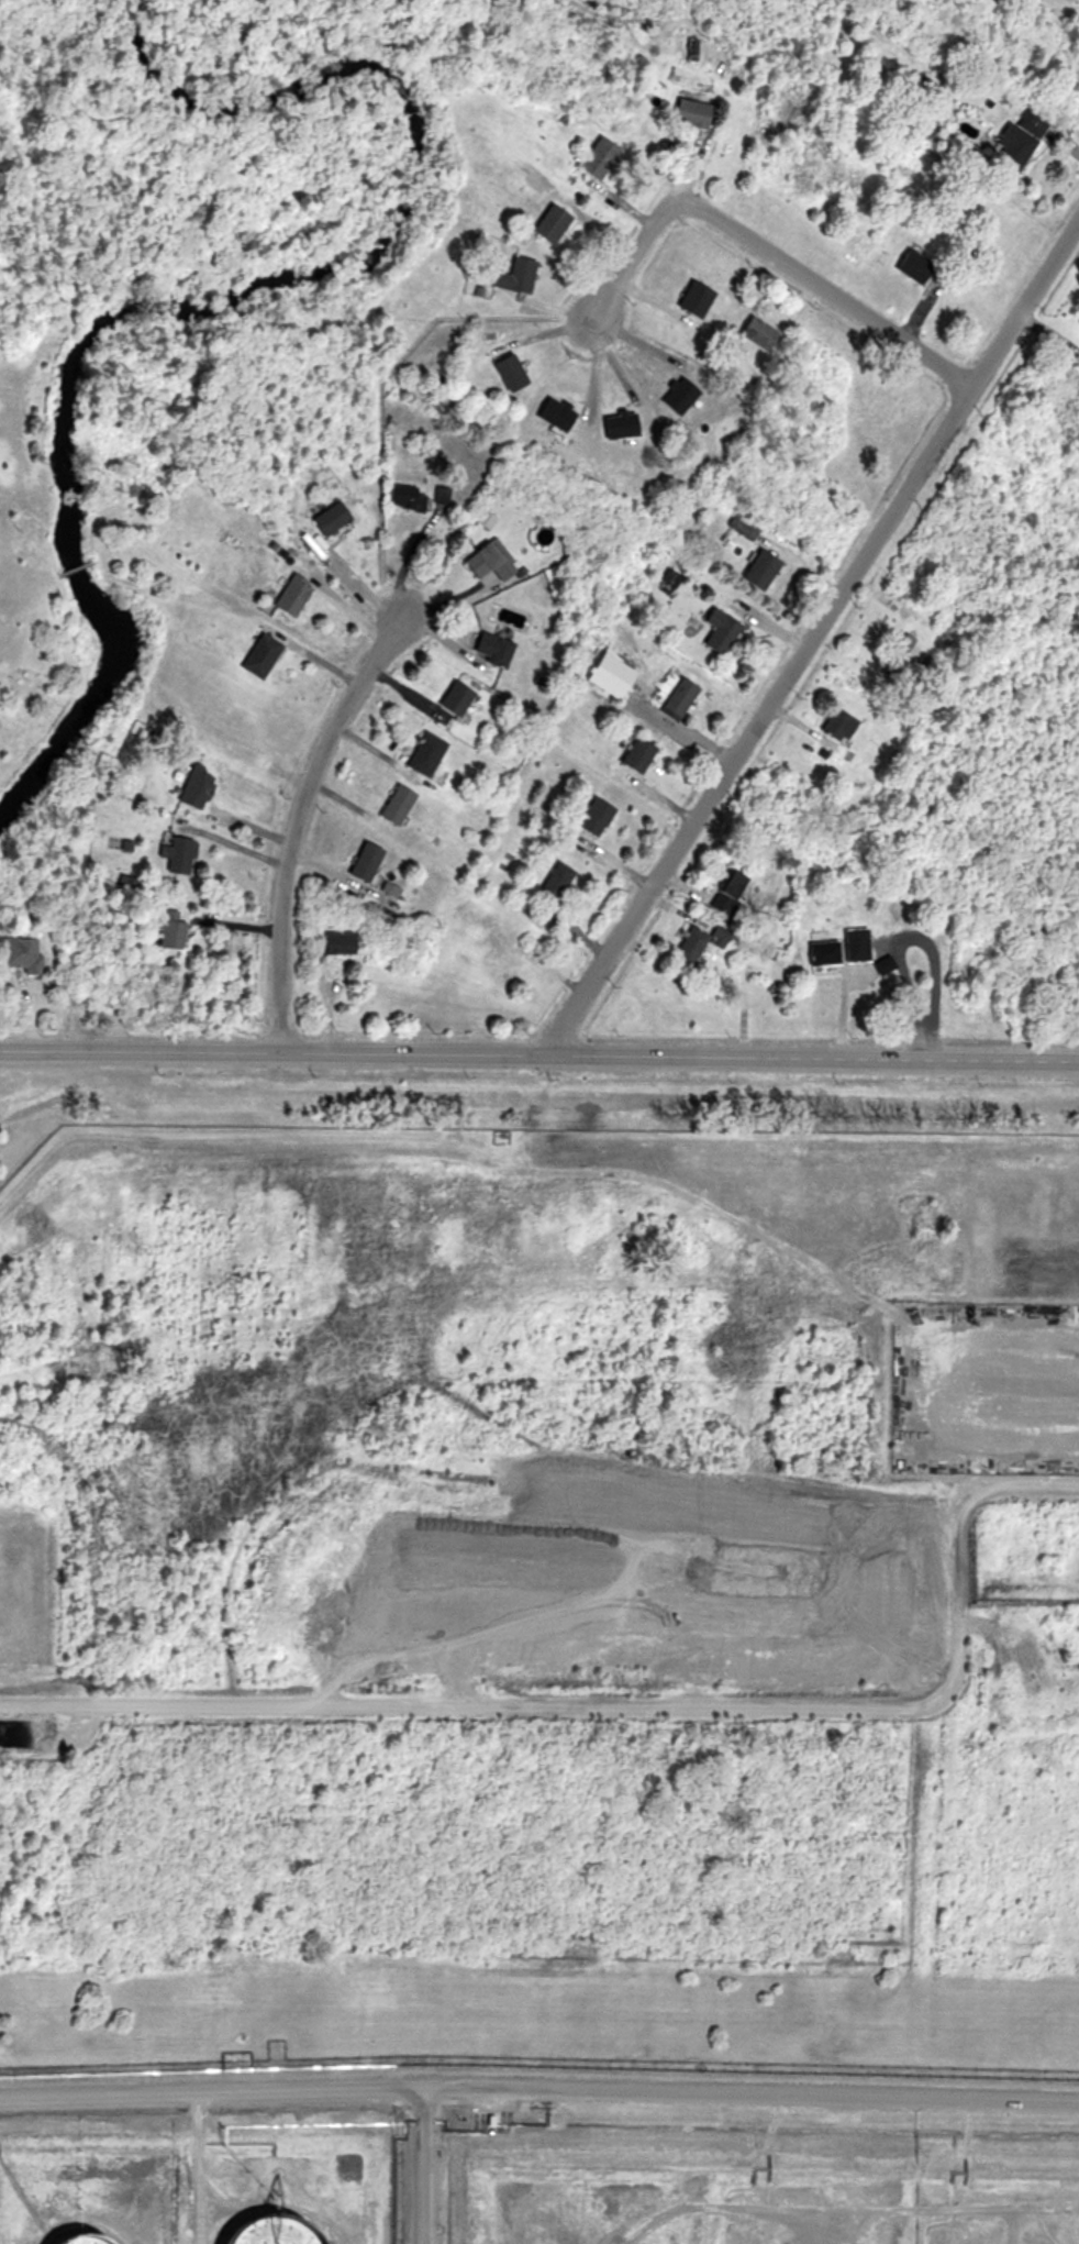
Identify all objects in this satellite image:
park: (138, 575)
storage tank: (285, 2226)
storage tank: (97, 2235)

